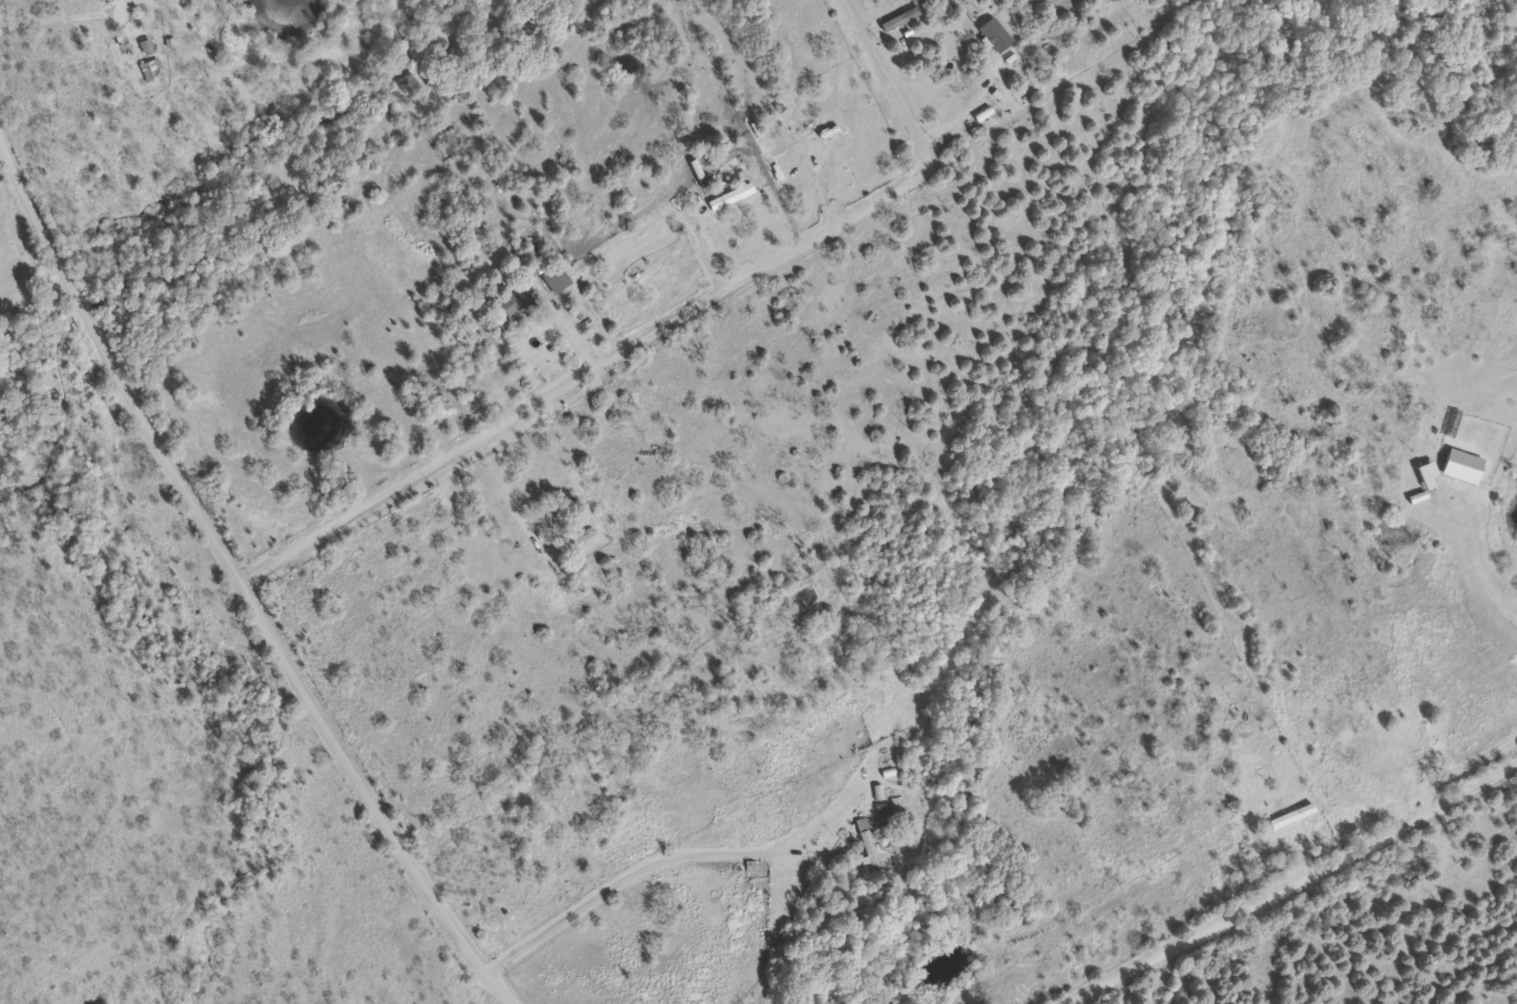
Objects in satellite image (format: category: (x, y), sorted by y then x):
road: (884, 74)
building: (729, 179)
road: (28, 271)
building: (556, 277)
road: (671, 314)
road: (569, 323)
building: (1230, 454)
road: (509, 488)
building: (548, 514)
building: (576, 539)
road: (240, 577)
building: (888, 817)
building: (869, 845)
road: (645, 859)
road: (1289, 882)

